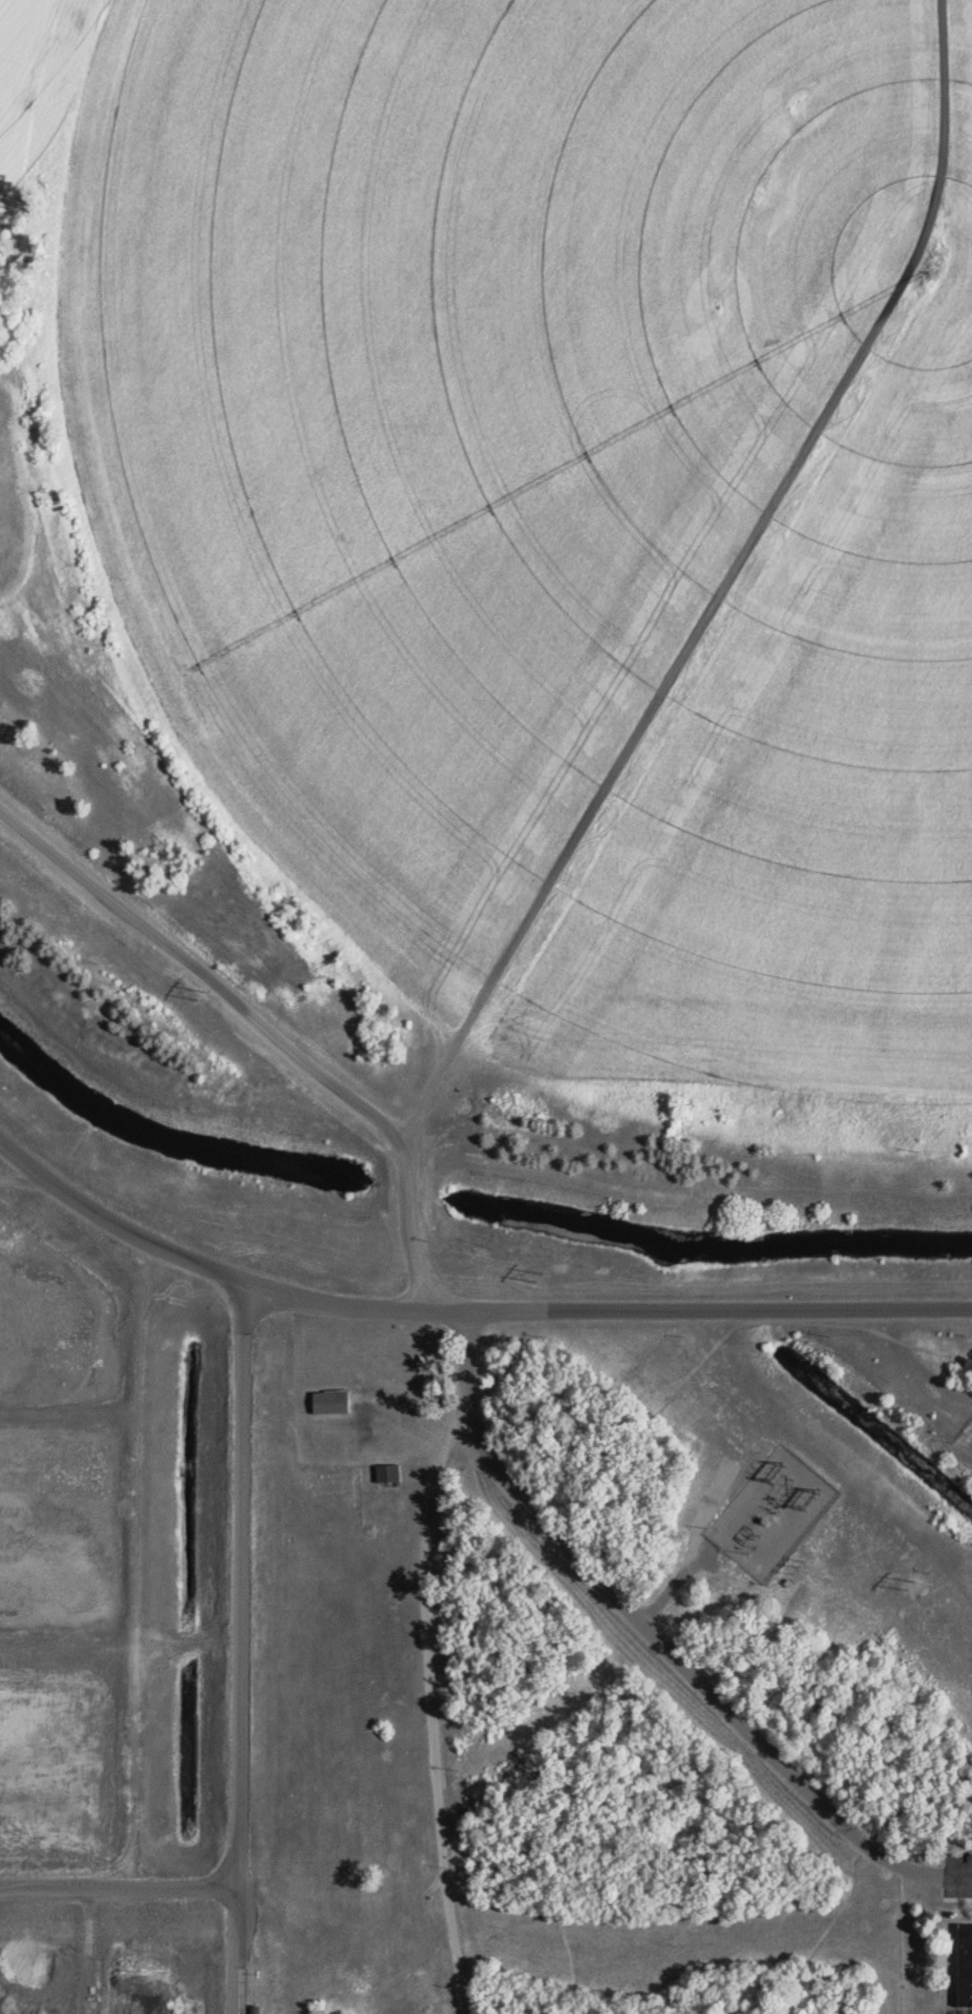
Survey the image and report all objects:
power tower: (206, 997)
wastewater plant: (486, 1007)
power tower: (547, 1274)
road: (723, 1307)
building: (334, 1402)
road: (470, 1423)
building: (392, 1474)
power substation: (774, 1512)
road: (679, 1579)
power tower: (915, 1583)
road: (244, 1591)
road: (763, 1633)
road: (436, 1711)
road: (947, 1872)
road: (177, 1890)
building: (967, 1964)

